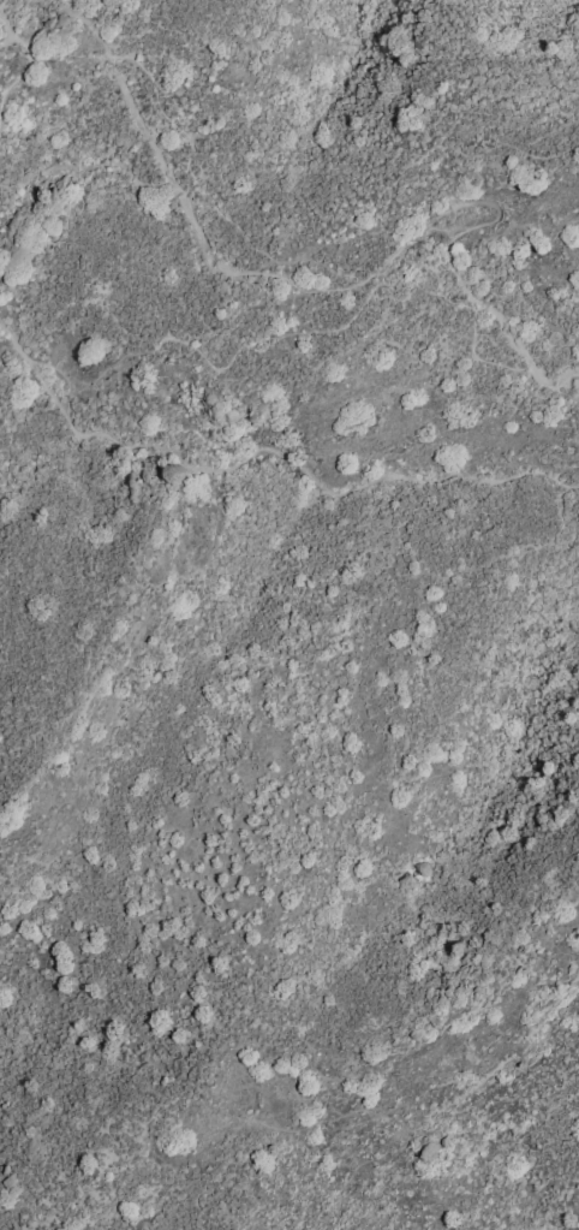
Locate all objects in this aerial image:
road: (8, 38)
road: (28, 65)
road: (265, 447)
road: (541, 1229)

